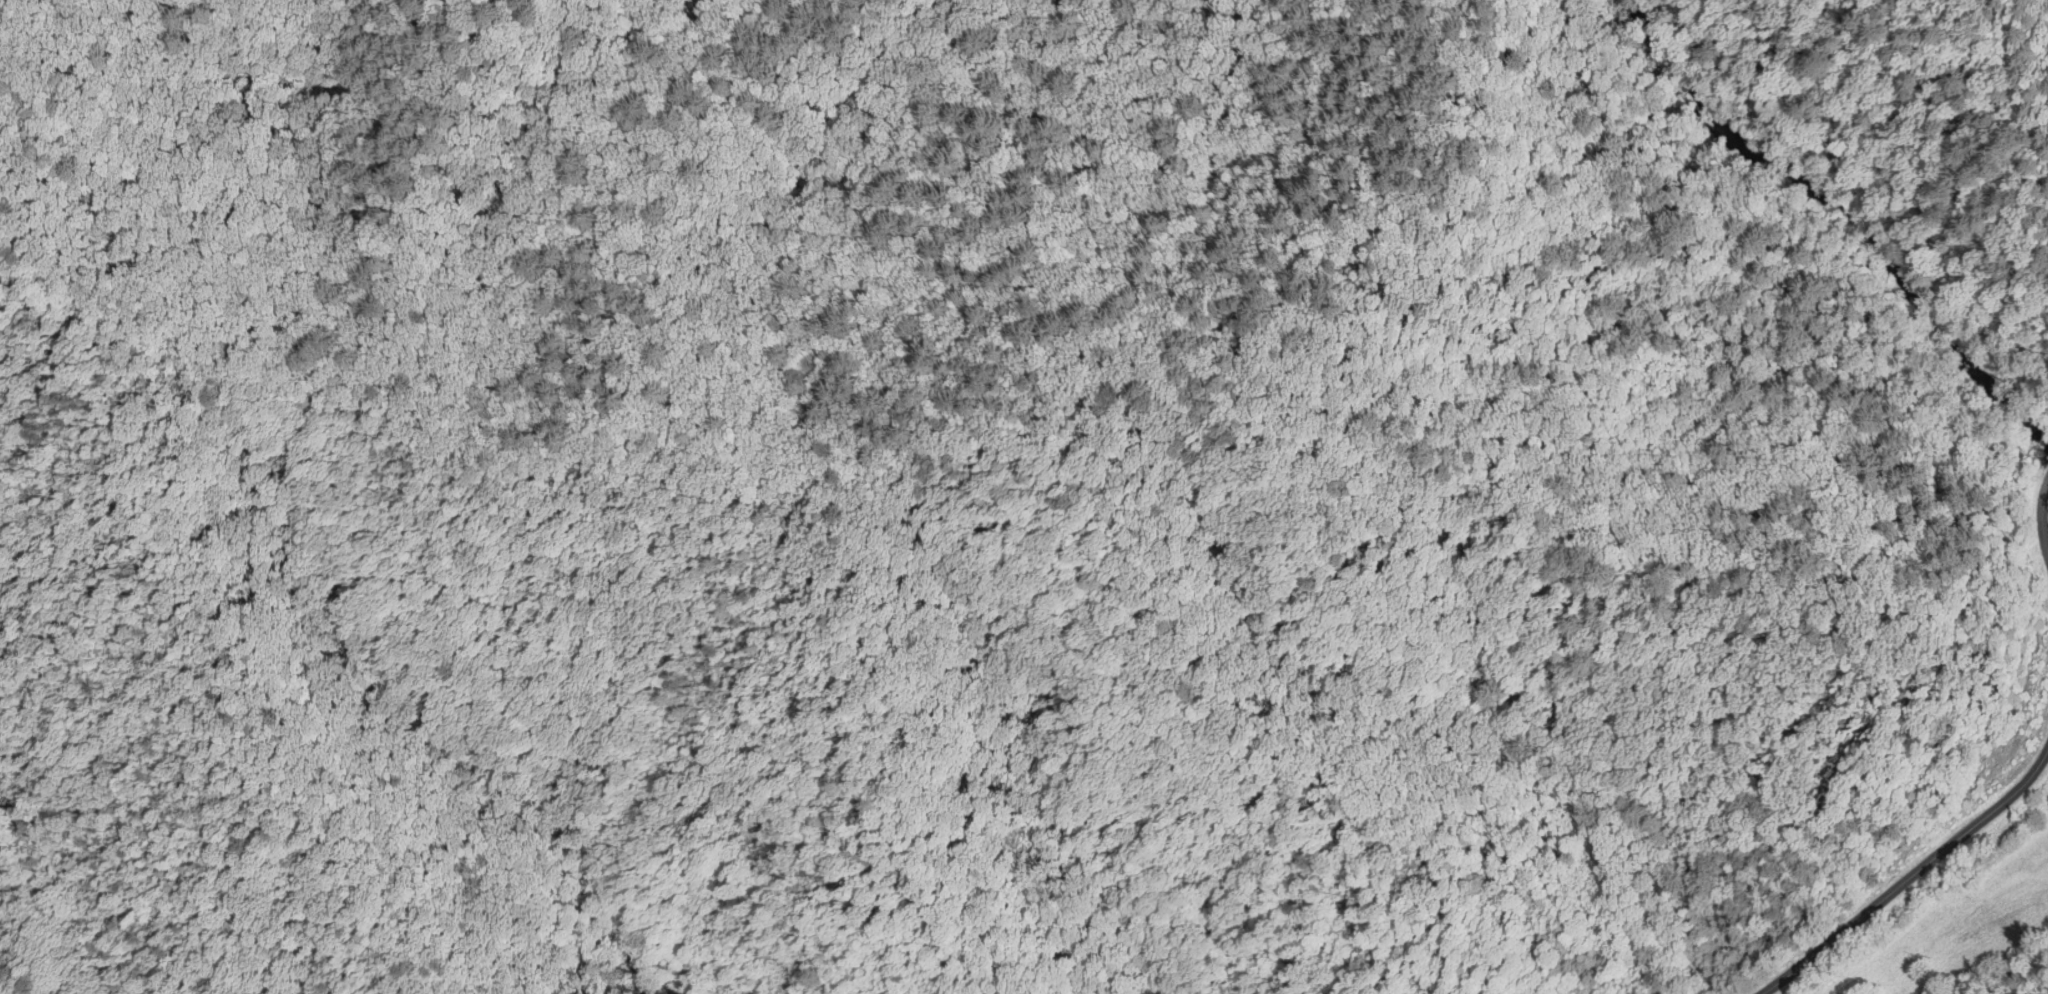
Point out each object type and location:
road: (1840, 110)
road: (1790, 136)
road: (1220, 290)
road: (2042, 517)
road: (1909, 875)
road: (1934, 911)
building: (1764, 936)

